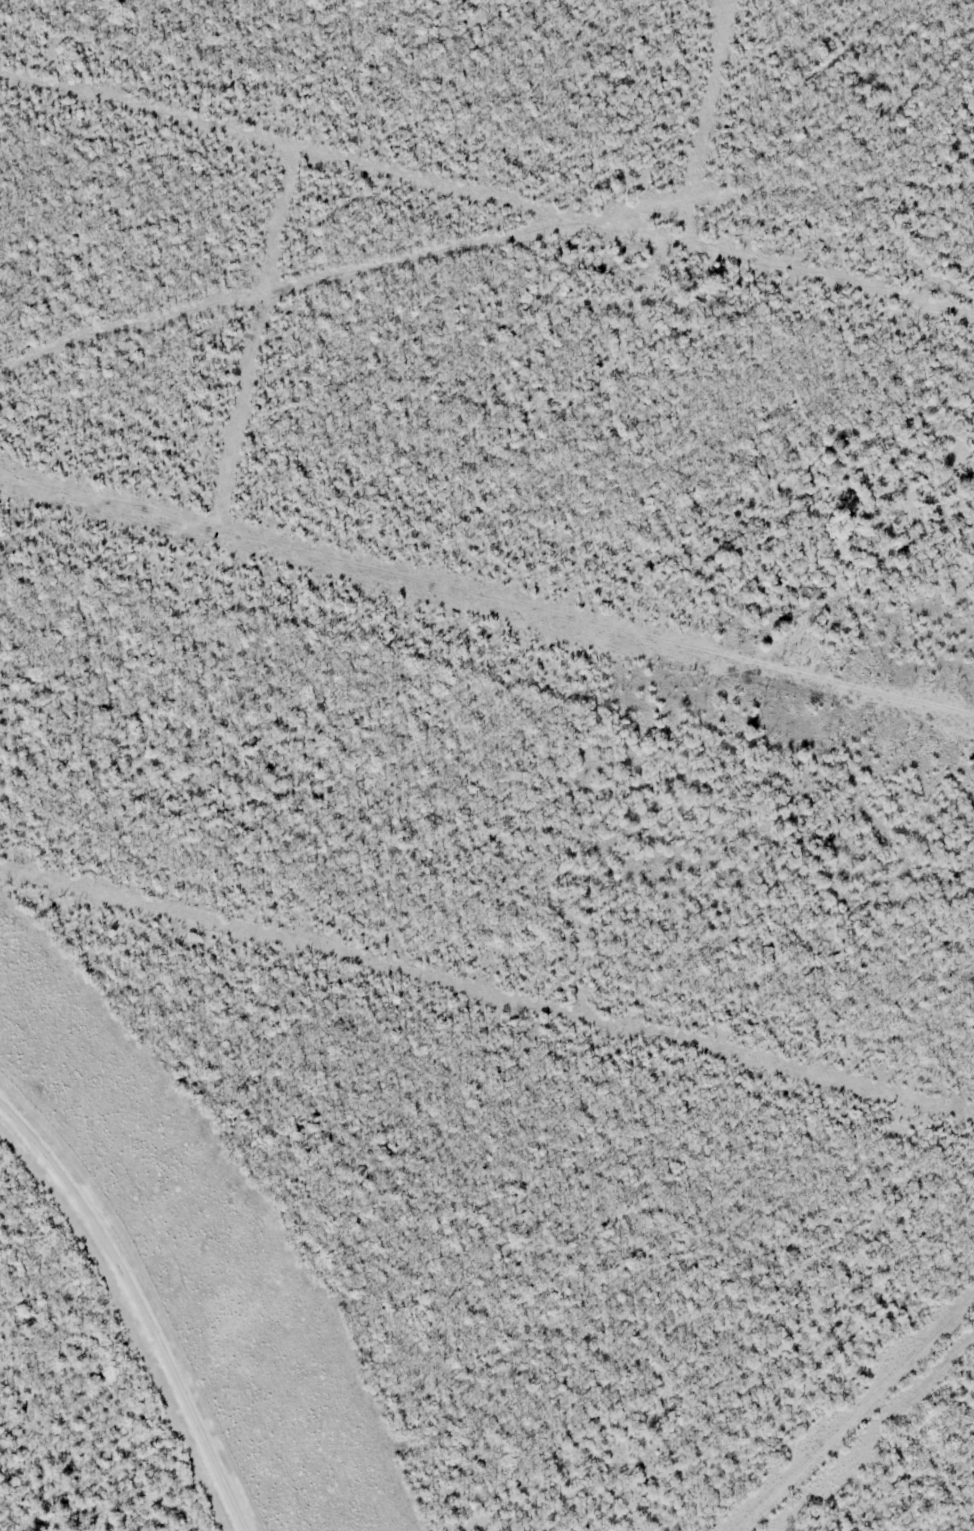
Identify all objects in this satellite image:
road: (143, 1302)

